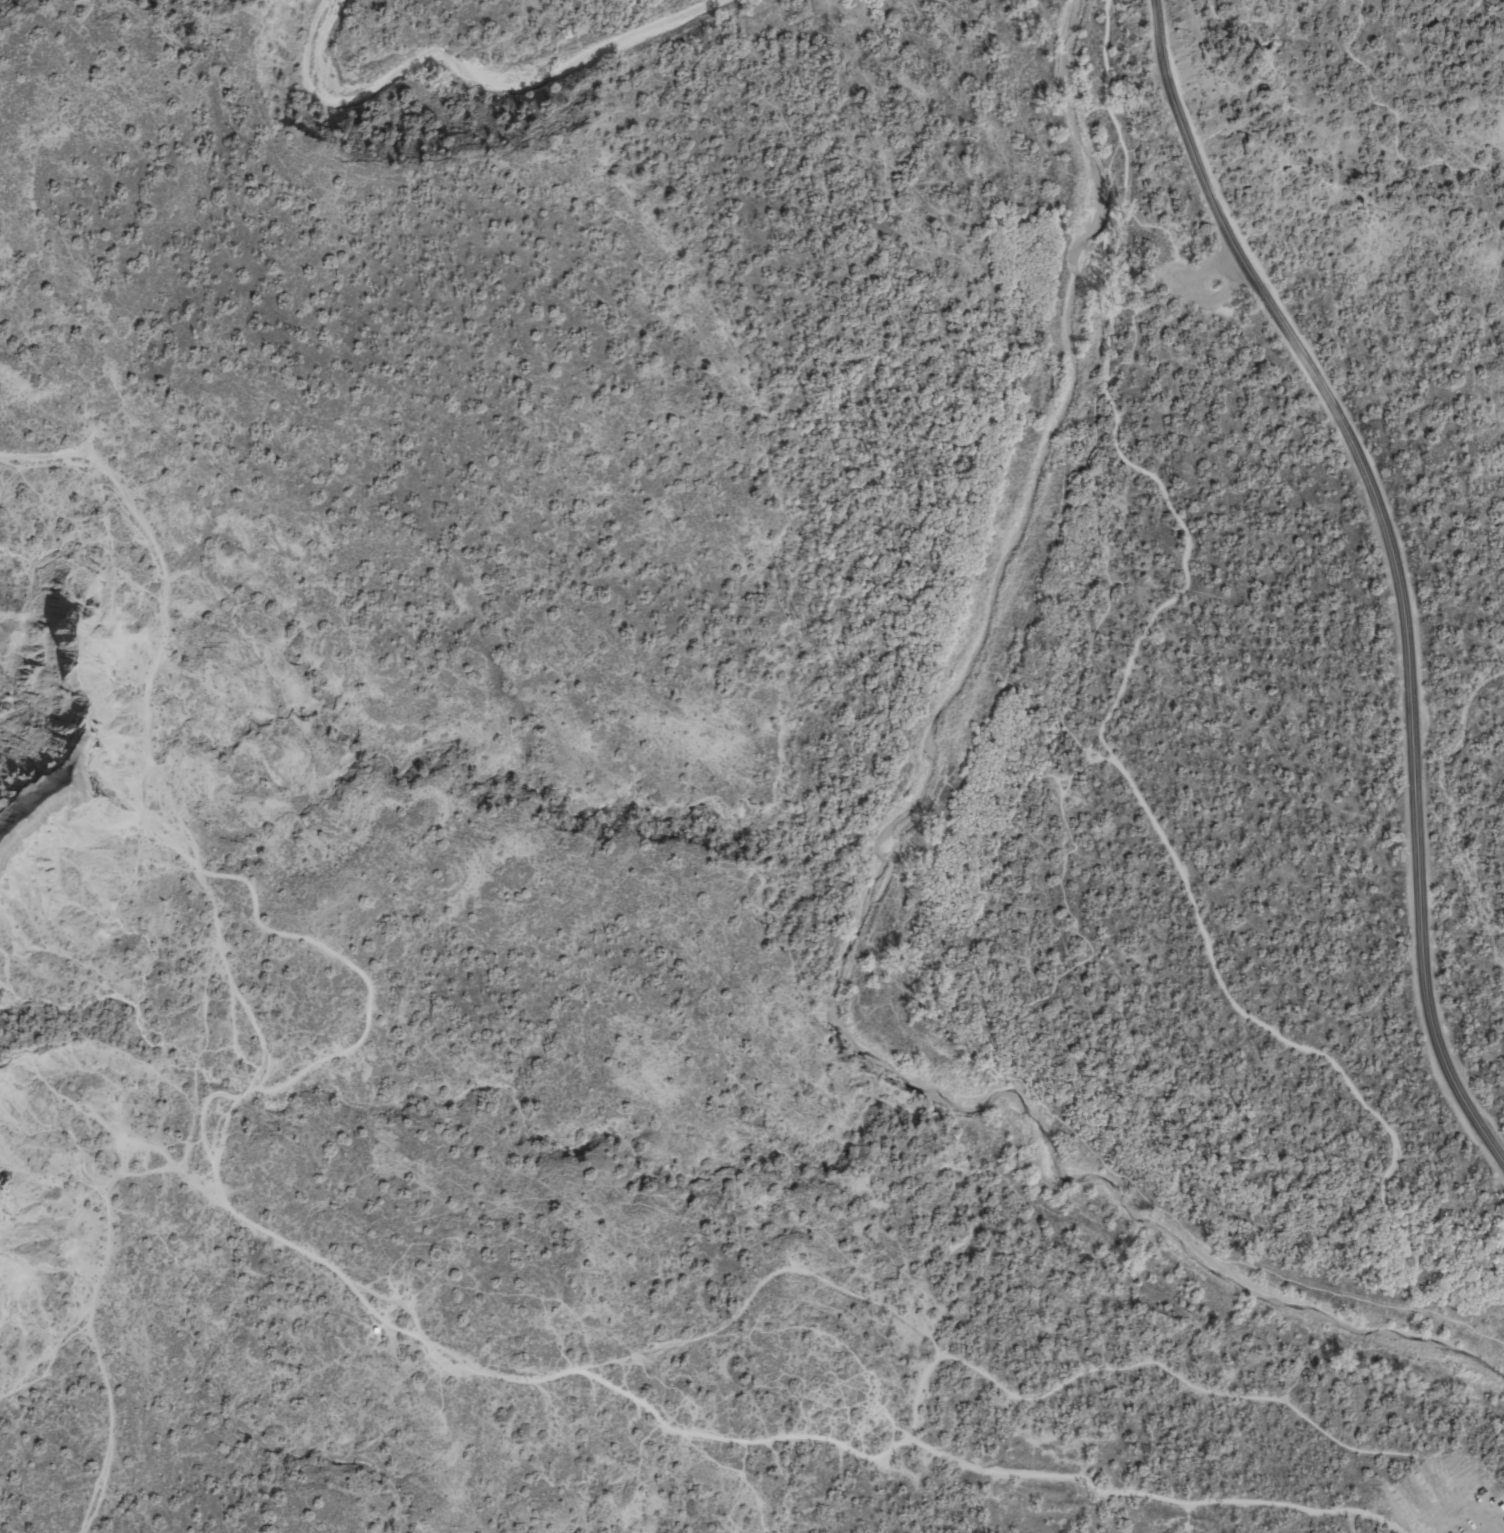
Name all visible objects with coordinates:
road: (1401, 562)
road: (1063, 728)
river: (873, 884)
road: (93, 1293)
road: (378, 1310)
road: (52, 1358)
road: (1190, 1380)
parking lot: (1472, 1514)

